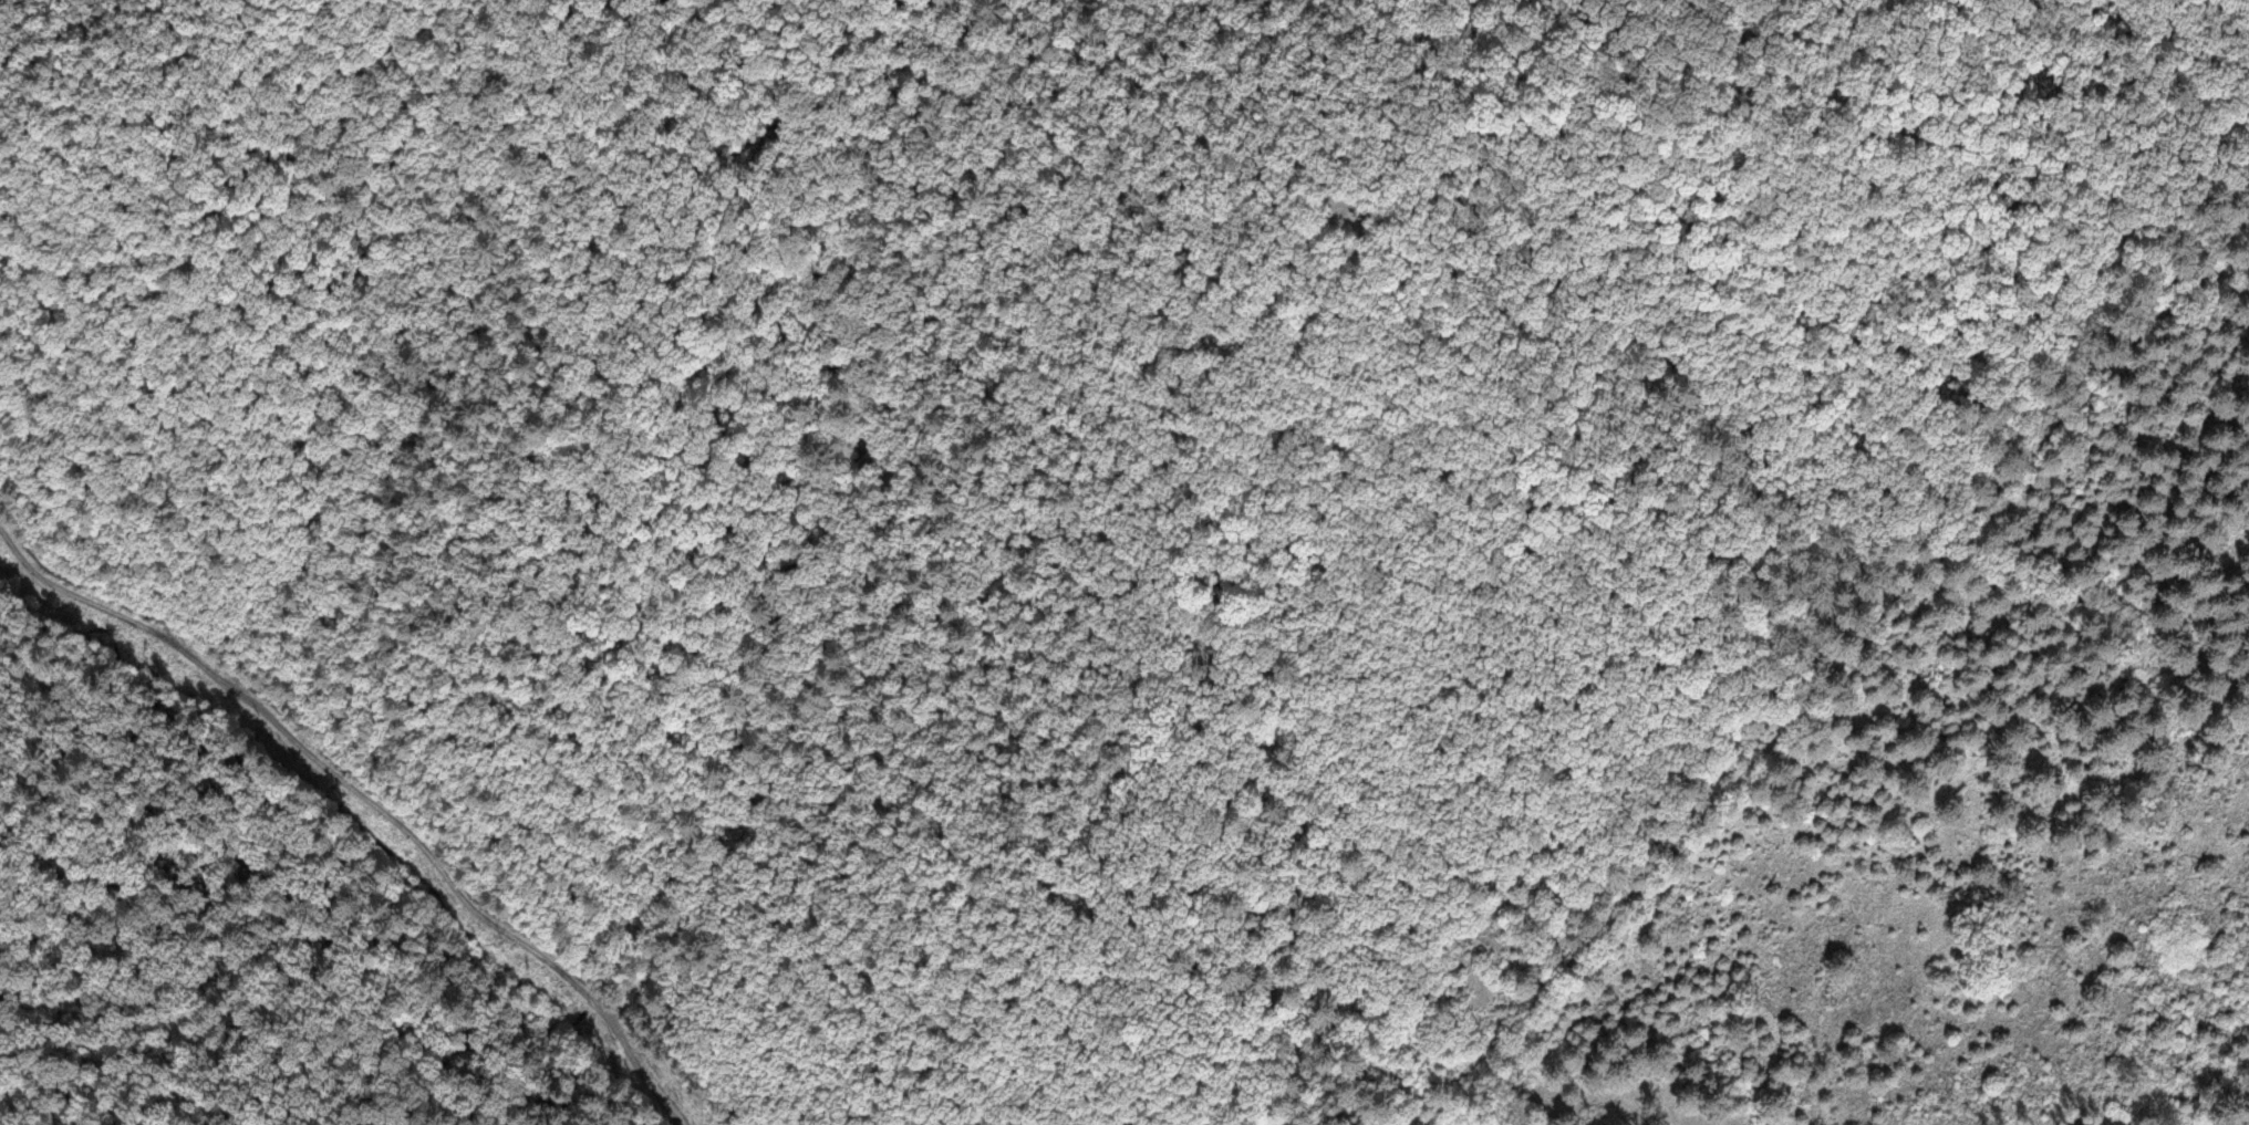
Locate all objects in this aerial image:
road: (1831, 683)
road: (362, 804)
road: (1098, 847)

